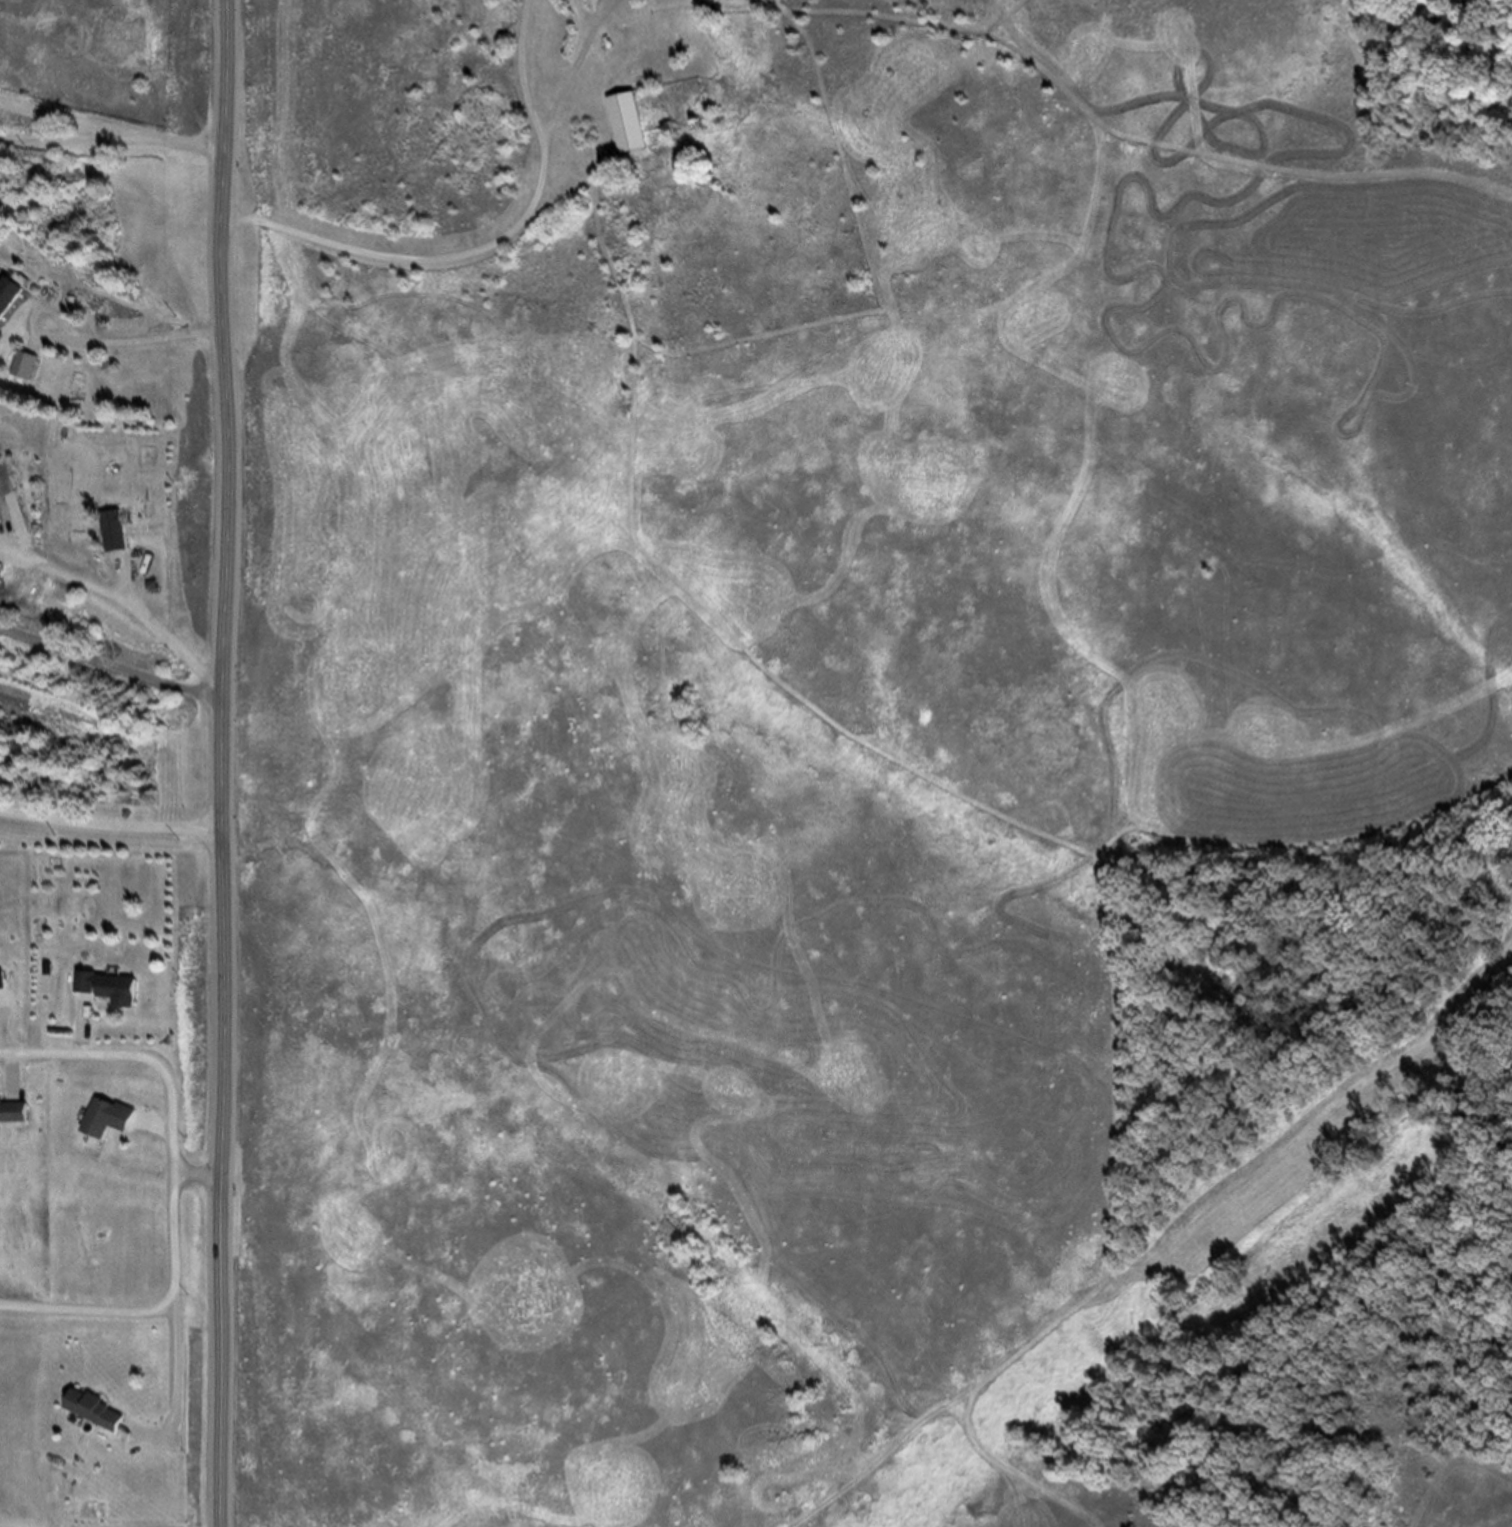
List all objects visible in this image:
building: (631, 127)
road: (1103, 127)
road: (113, 129)
road: (84, 144)
road: (500, 244)
building: (9, 298)
road: (136, 345)
building: (27, 368)
building: (0, 451)
building: (18, 502)
building: (2, 514)
building: (119, 536)
road: (131, 585)
road: (128, 603)
road: (114, 666)
road: (849, 727)
road: (228, 763)
road: (113, 825)
road: (1299, 850)
building: (115, 987)
building: (105, 1008)
road: (114, 1046)
road: (34, 1069)
road: (168, 1076)
building: (18, 1096)
building: (18, 1111)
building: (116, 1116)
building: (128, 1140)
road: (169, 1154)
road: (1166, 1240)
road: (153, 1315)
road: (169, 1395)
building: (97, 1407)
building: (120, 1441)

